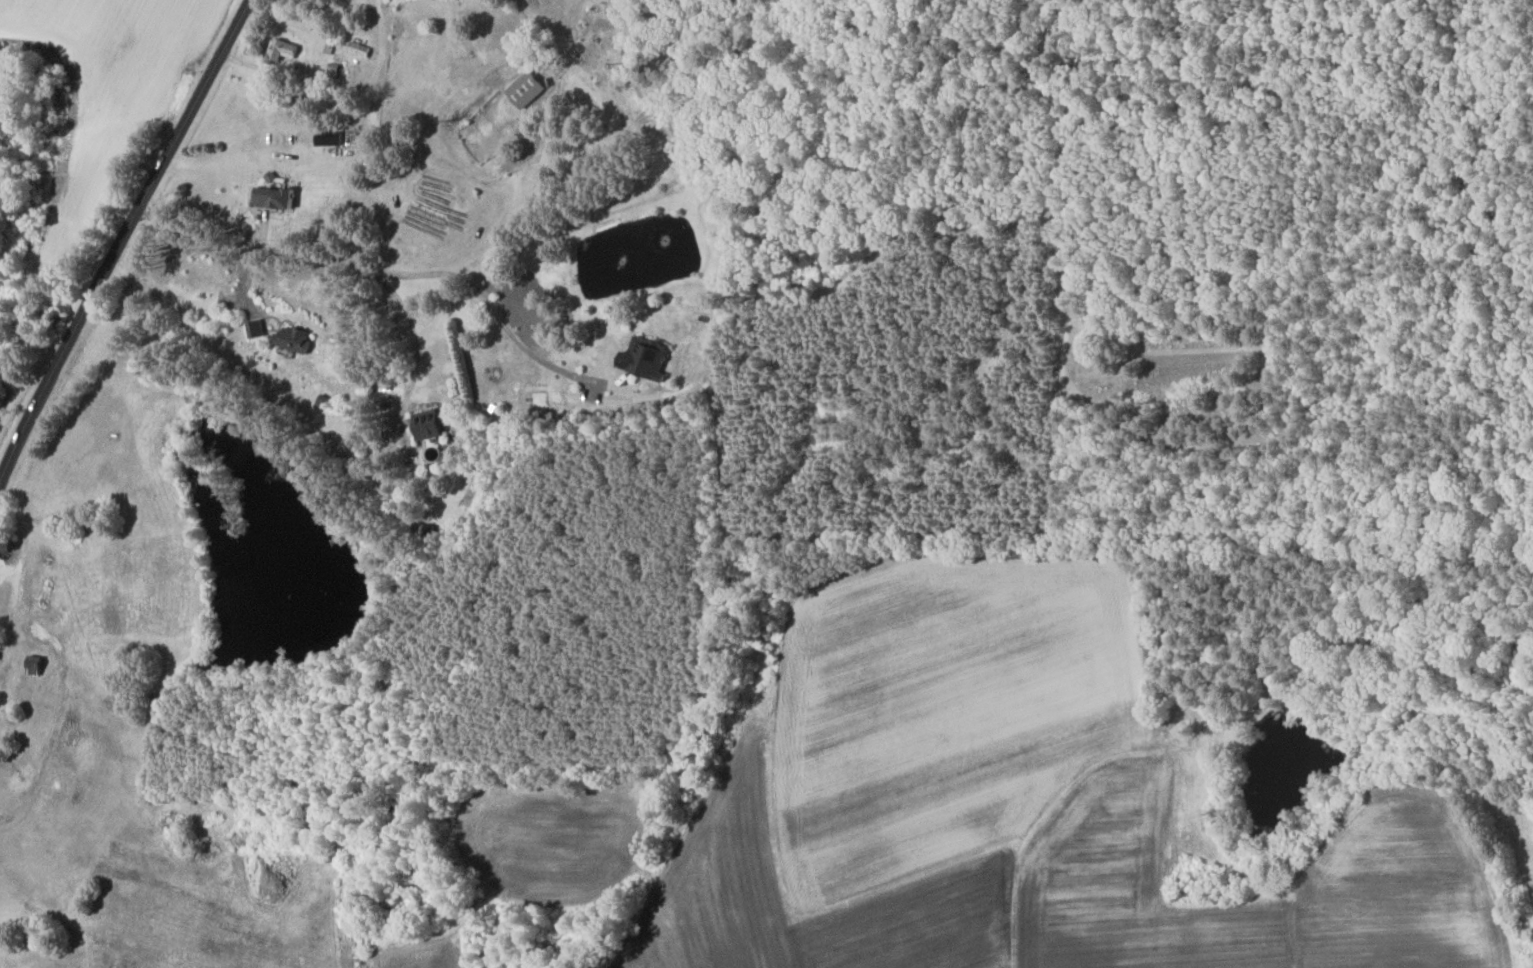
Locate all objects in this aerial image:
building: (327, 46)
building: (284, 50)
building: (527, 89)
building: (330, 137)
building: (277, 198)
road: (123, 237)
road: (252, 251)
road: (497, 312)
building: (259, 329)
road: (414, 333)
building: (297, 340)
building: (648, 359)
building: (430, 425)
building: (36, 666)
road: (1000, 938)

